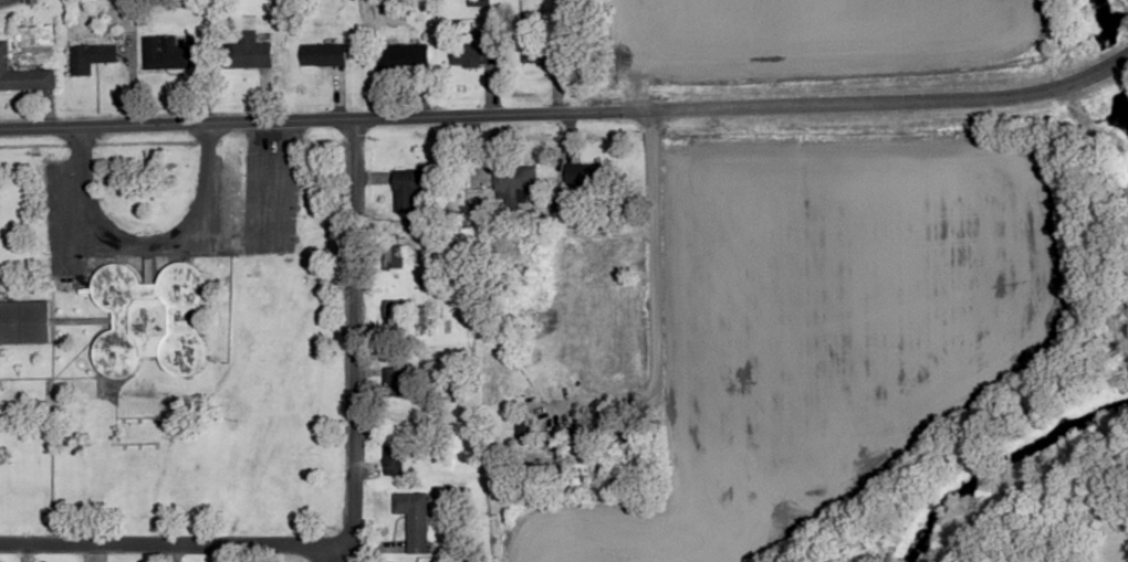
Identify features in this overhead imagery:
building: (474, 51)
building: (544, 51)
building: (167, 53)
building: (249, 53)
building: (325, 55)
building: (405, 55)
building: (92, 57)
building: (23, 75)
road: (567, 113)
building: (589, 174)
building: (515, 178)
building: (412, 188)
road: (143, 243)
building: (395, 255)
road: (649, 256)
building: (152, 318)
building: (25, 322)
road: (349, 358)
road: (617, 371)
building: (395, 384)
building: (530, 432)
building: (395, 460)
building: (415, 518)
road: (152, 549)

